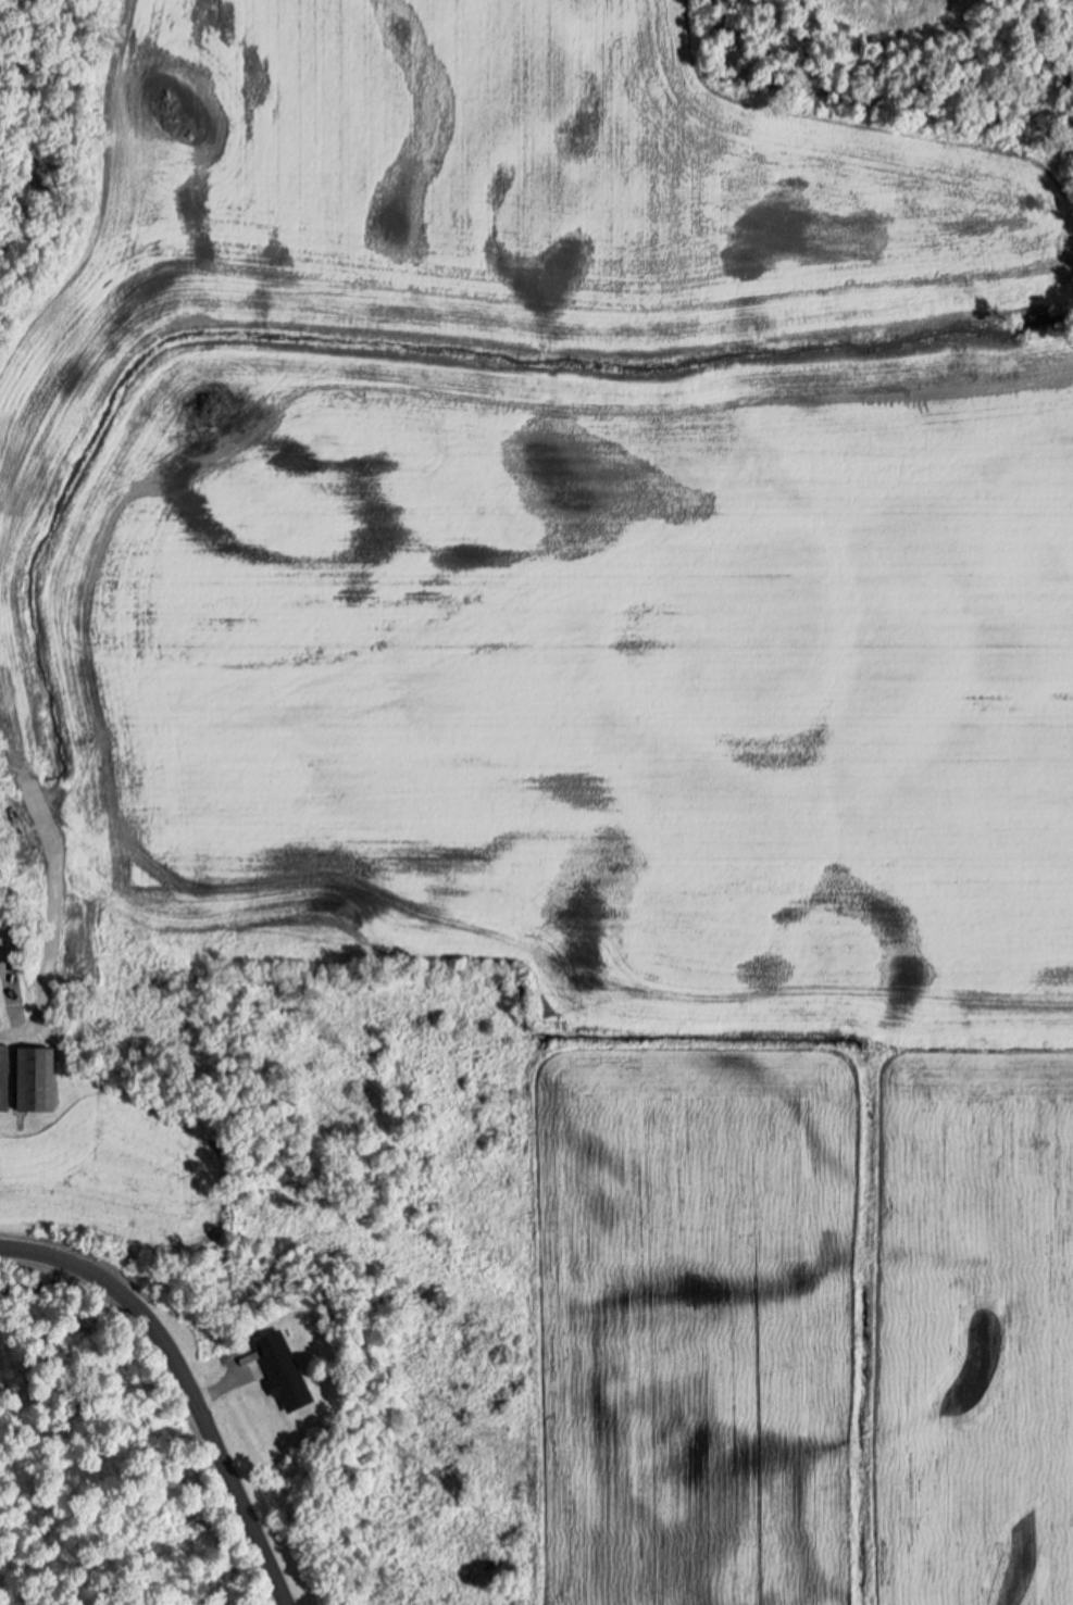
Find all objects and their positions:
building: (3, 1077)
building: (32, 1078)
building: (285, 1380)
road: (186, 1382)

